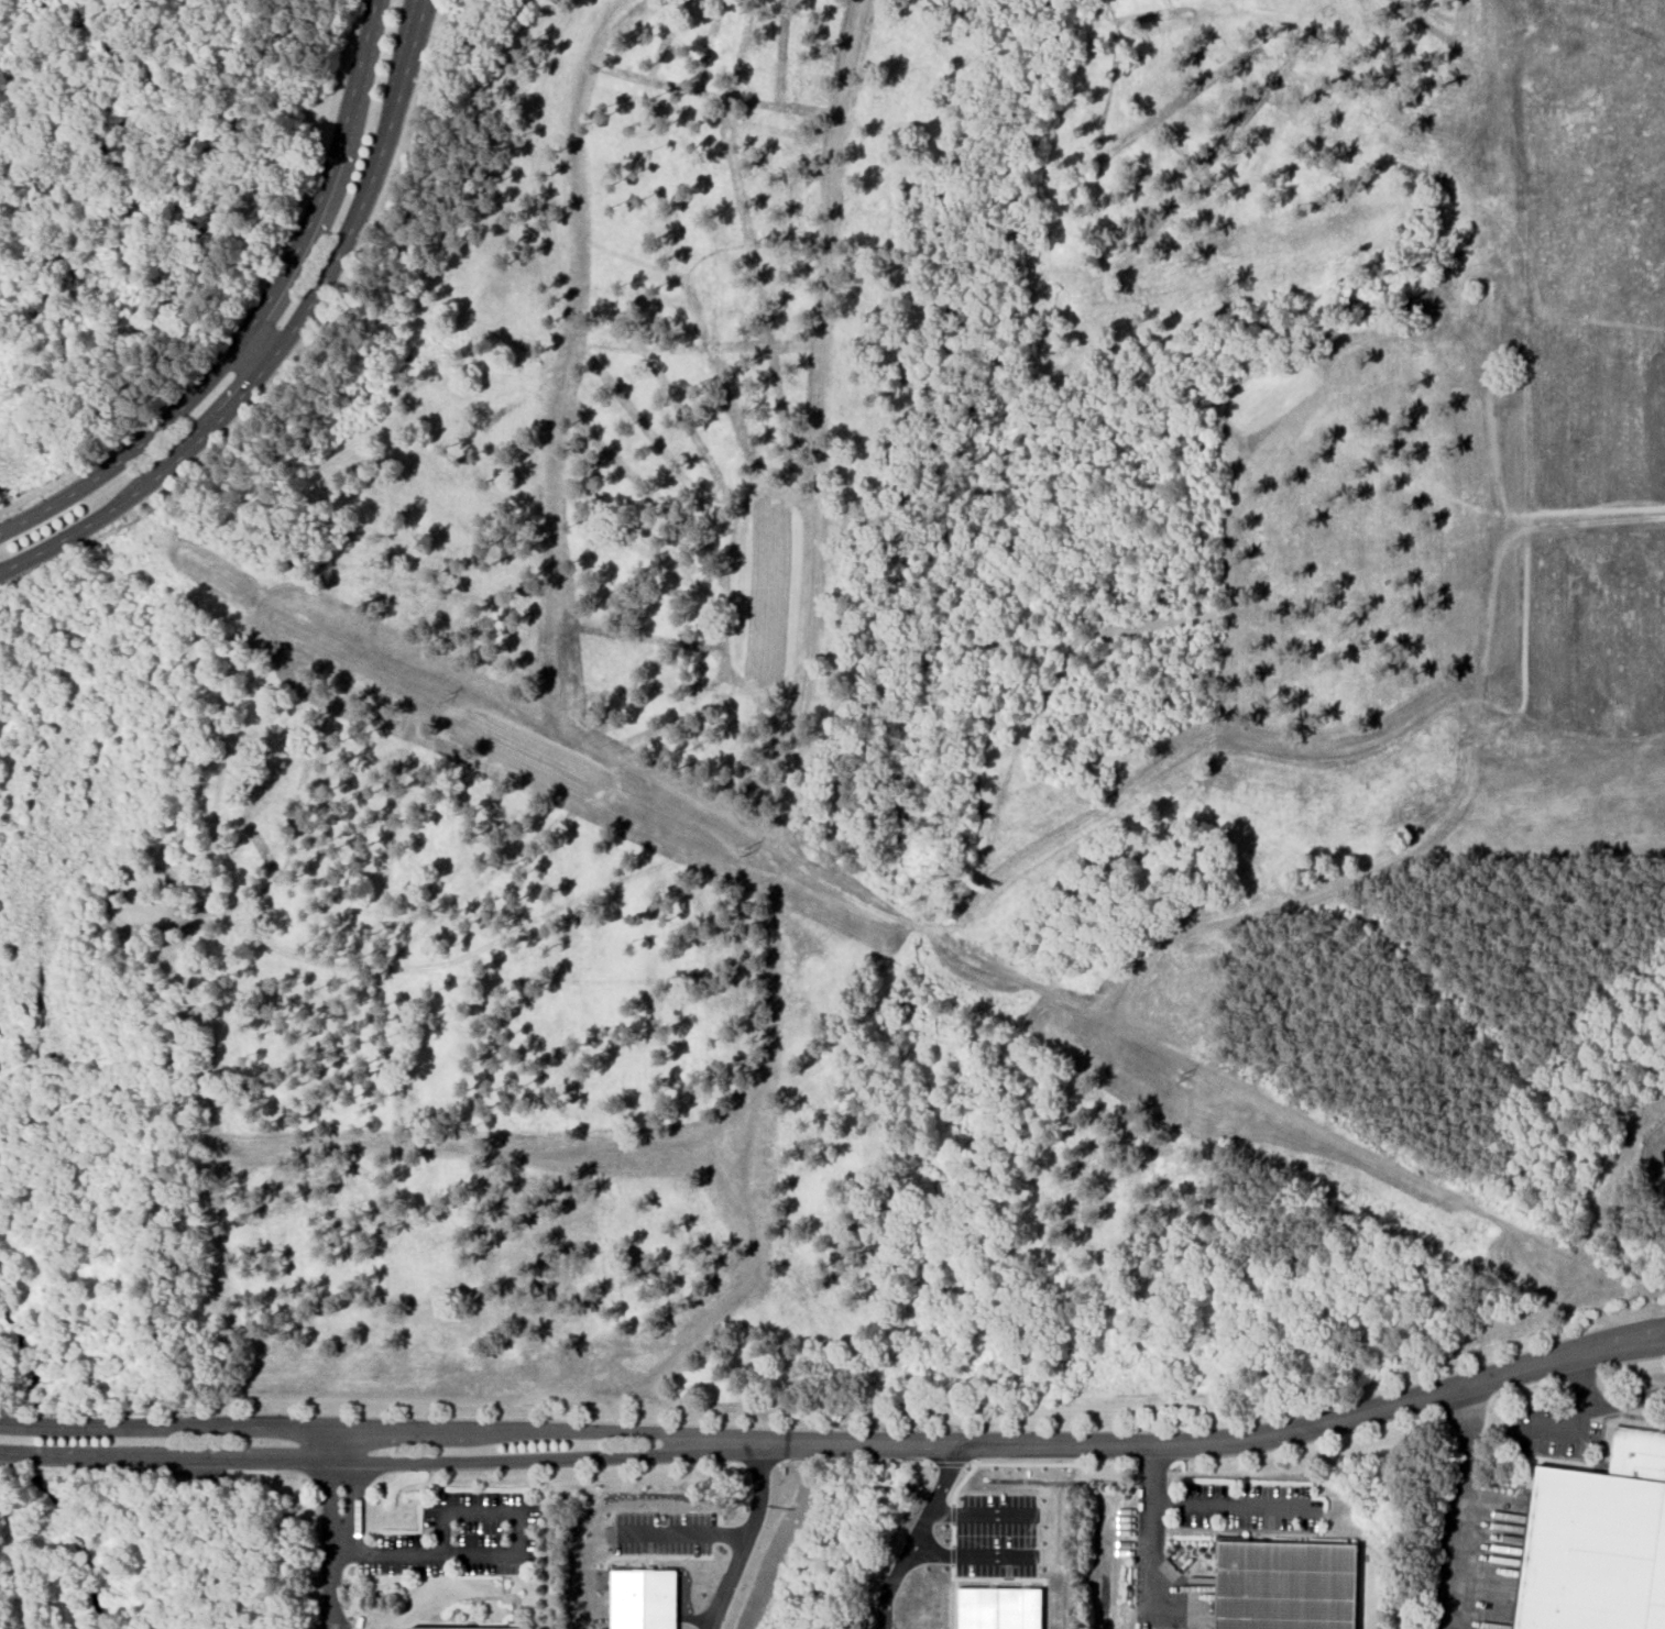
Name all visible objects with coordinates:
road: (258, 317)
road: (285, 340)
road: (252, 355)
power tower: (121, 530)
power tower: (446, 696)
power tower: (745, 854)
power tower: (1181, 1077)
power tower: (1621, 1302)
road: (1642, 1334)
road: (1643, 1345)
road: (1582, 1383)
road: (1593, 1409)
road: (362, 1430)
road: (336, 1444)
road: (1179, 1449)
road: (362, 1460)
road: (1236, 1505)
road: (1464, 1507)
road: (684, 1533)
road: (917, 1536)
road: (746, 1539)
road: (1151, 1539)
building: (1598, 1541)
road: (332, 1543)
road: (510, 1554)
building: (1285, 1586)
building: (643, 1599)
building: (998, 1608)
building: (464, 1628)

